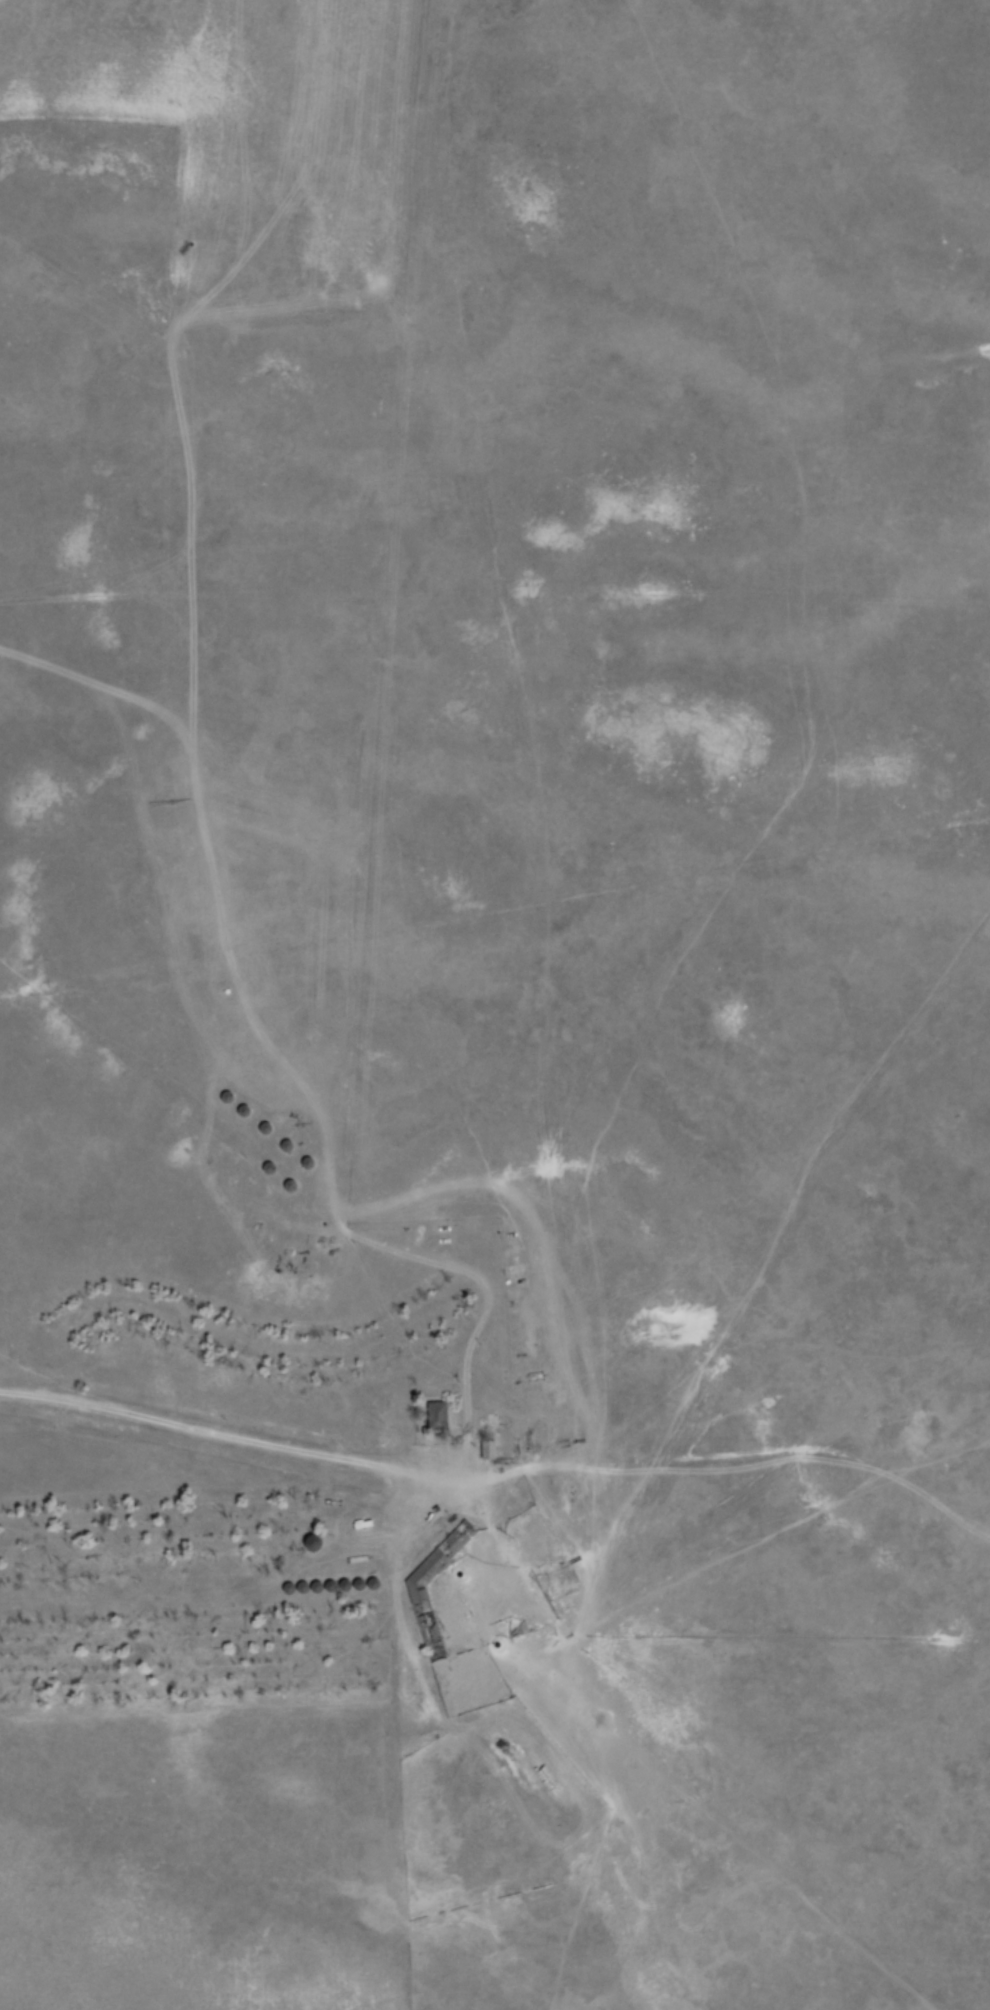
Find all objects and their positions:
building: (235, 1101)
silo: (235, 1101)
building: (250, 1115)
silo: (250, 1115)
building: (274, 1132)
silo: (274, 1132)
building: (295, 1150)
silo: (295, 1150)
building: (318, 1168)
silo: (318, 1168)
building: (276, 1169)
silo: (276, 1169)
building: (297, 1189)
silo: (297, 1189)
building: (439, 1418)
road: (265, 1446)
building: (495, 1451)
building: (312, 1542)
building: (321, 1547)
silo: (321, 1547)
building: (380, 1588)
silo: (380, 1588)
building: (353, 1589)
silo: (353, 1589)
building: (367, 1589)
silo: (367, 1589)
building: (339, 1590)
silo: (339, 1590)
building: (325, 1591)
silo: (325, 1591)
building: (295, 1592)
silo: (295, 1592)
building: (309, 1592)
silo: (309, 1592)
building: (434, 1625)

